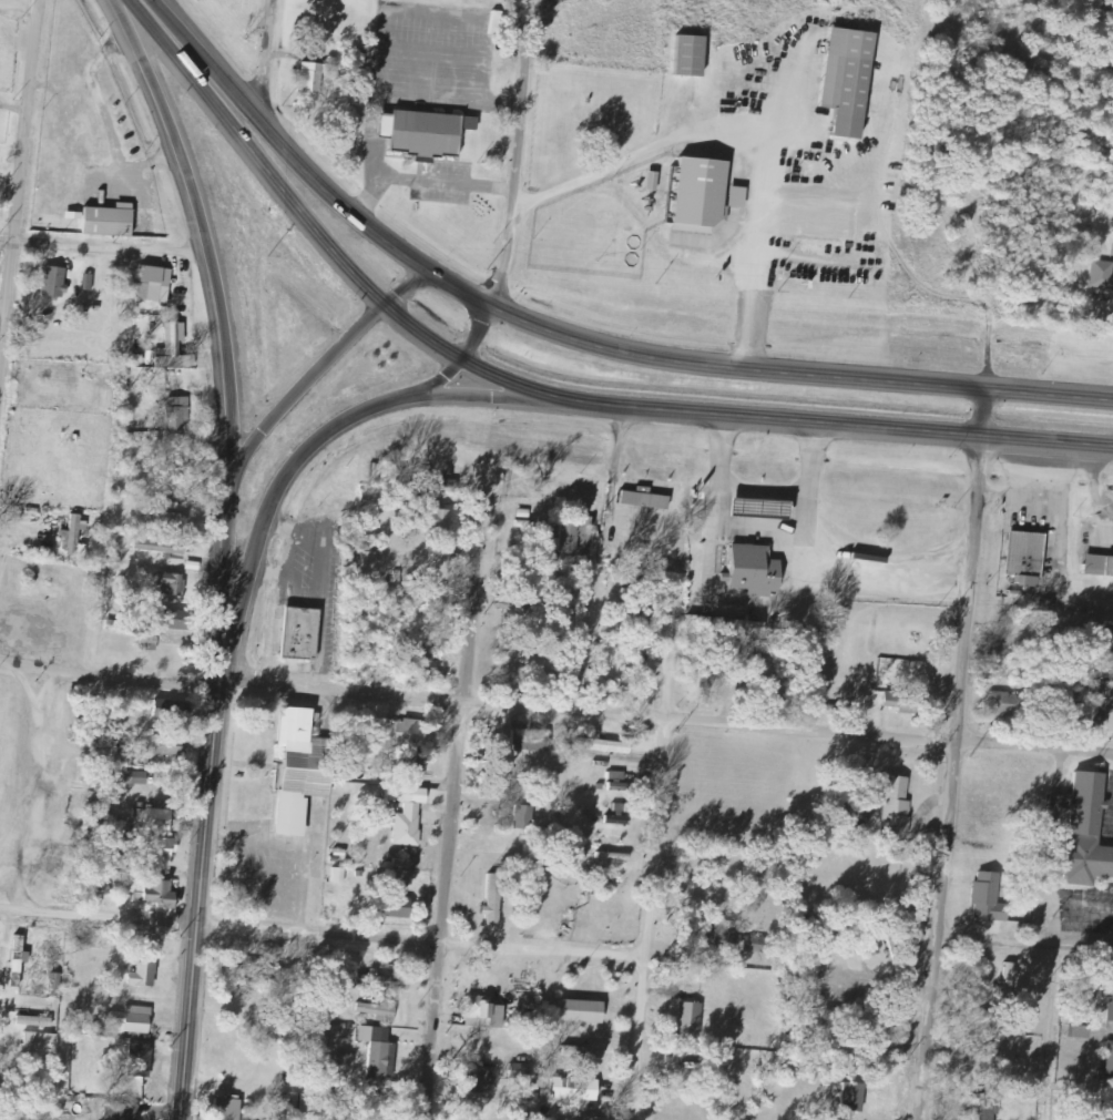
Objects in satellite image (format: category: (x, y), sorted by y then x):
building: (500, 23)
building: (691, 55)
road: (176, 62)
road: (201, 64)
road: (270, 64)
building: (312, 78)
building: (851, 94)
building: (418, 131)
road: (514, 153)
road: (17, 186)
building: (702, 195)
building: (111, 221)
road: (370, 230)
road: (763, 234)
road: (6, 245)
road: (112, 248)
building: (1102, 275)
building: (54, 282)
building: (89, 283)
building: (153, 284)
road: (217, 309)
building: (173, 347)
road: (463, 364)
road: (320, 370)
road: (798, 376)
road: (487, 398)
road: (614, 408)
building: (177, 415)
road: (282, 486)
building: (650, 507)
building: (760, 508)
building: (437, 521)
building: (73, 538)
building: (591, 543)
building: (162, 547)
building: (1027, 559)
building: (370, 560)
building: (1100, 566)
building: (754, 570)
building: (170, 584)
building: (178, 620)
building: (746, 630)
building: (302, 633)
building: (151, 645)
building: (425, 665)
road: (111, 673)
building: (1101, 684)
building: (906, 702)
building: (1011, 704)
road: (667, 715)
building: (412, 733)
building: (533, 739)
building: (605, 745)
building: (163, 749)
road: (952, 755)
building: (411, 765)
building: (303, 770)
building: (617, 781)
building: (897, 807)
road: (455, 808)
building: (408, 814)
building: (524, 816)
building: (161, 817)
building: (1085, 831)
building: (160, 849)
building: (339, 875)
road: (201, 878)
building: (162, 894)
building: (990, 897)
building: (494, 900)
building: (399, 908)
road: (651, 918)
building: (726, 931)
road: (319, 939)
building: (755, 944)
road: (1024, 946)
building: (145, 976)
building: (1112, 1005)
building: (380, 1011)
building: (583, 1011)
building: (484, 1012)
building: (132, 1020)
building: (691, 1020)
building: (35, 1021)
building: (1081, 1031)
building: (42, 1043)
building: (378, 1050)
building: (583, 1052)
building: (345, 1059)
building: (141, 1060)
building: (1106, 1067)
building: (519, 1071)
building: (476, 1080)
building: (576, 1089)
building: (297, 1101)
building: (984, 1107)
building: (227, 1109)
building: (125, 1112)

